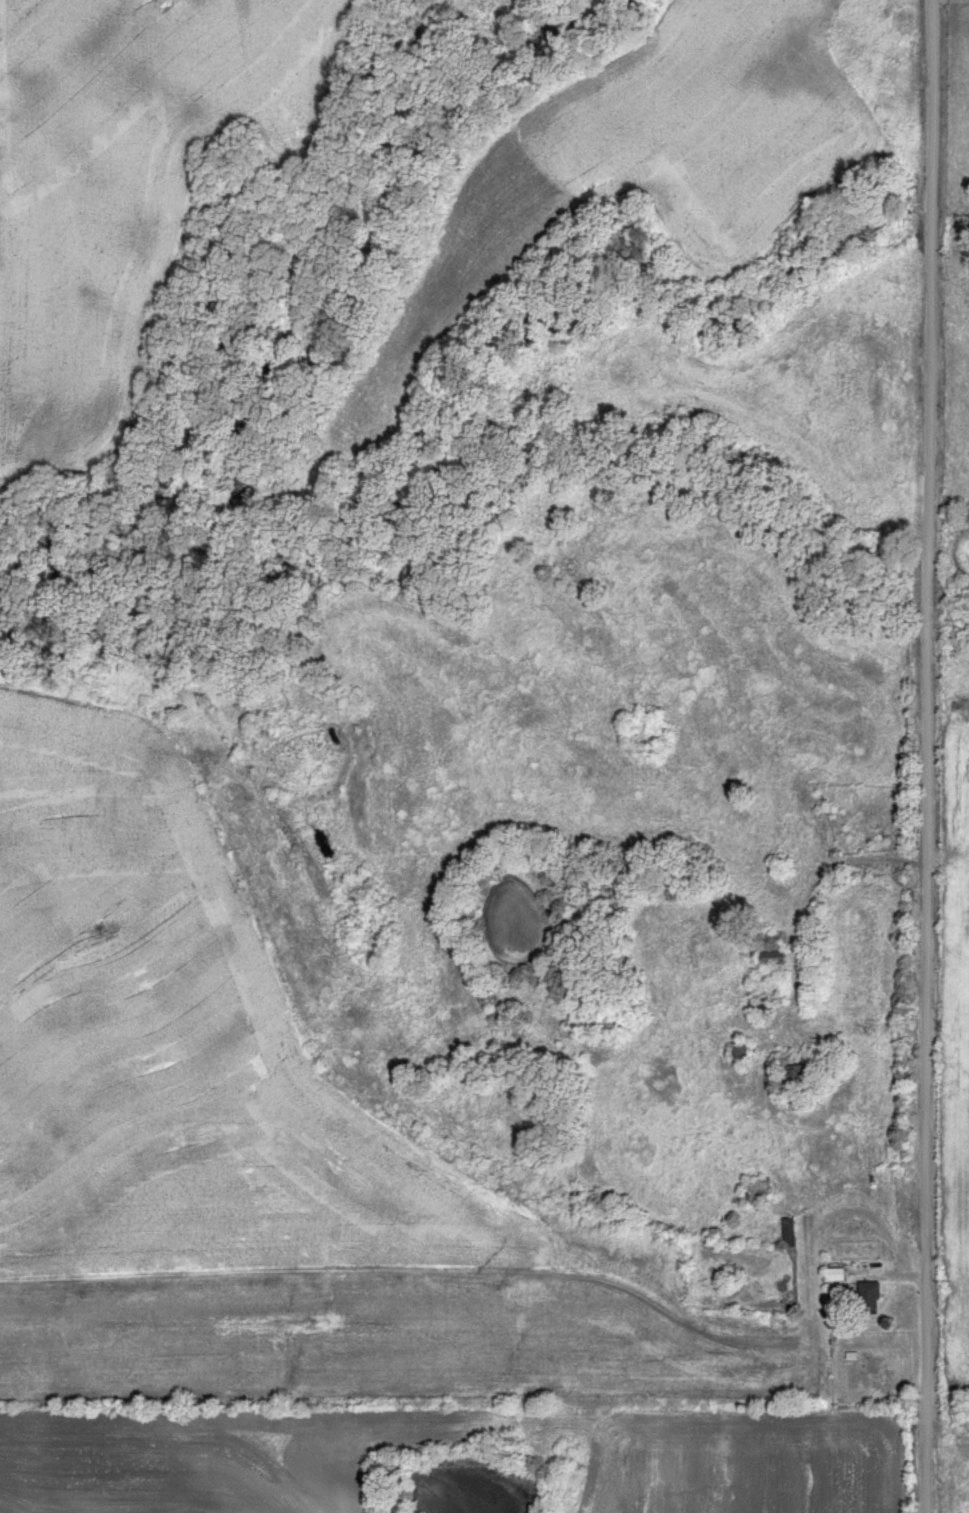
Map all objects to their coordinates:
road: (927, 756)
building: (770, 954)
building: (757, 1008)
building: (740, 1051)
building: (795, 1075)
building: (753, 1190)
building: (787, 1232)
building: (833, 1274)
building: (867, 1299)

